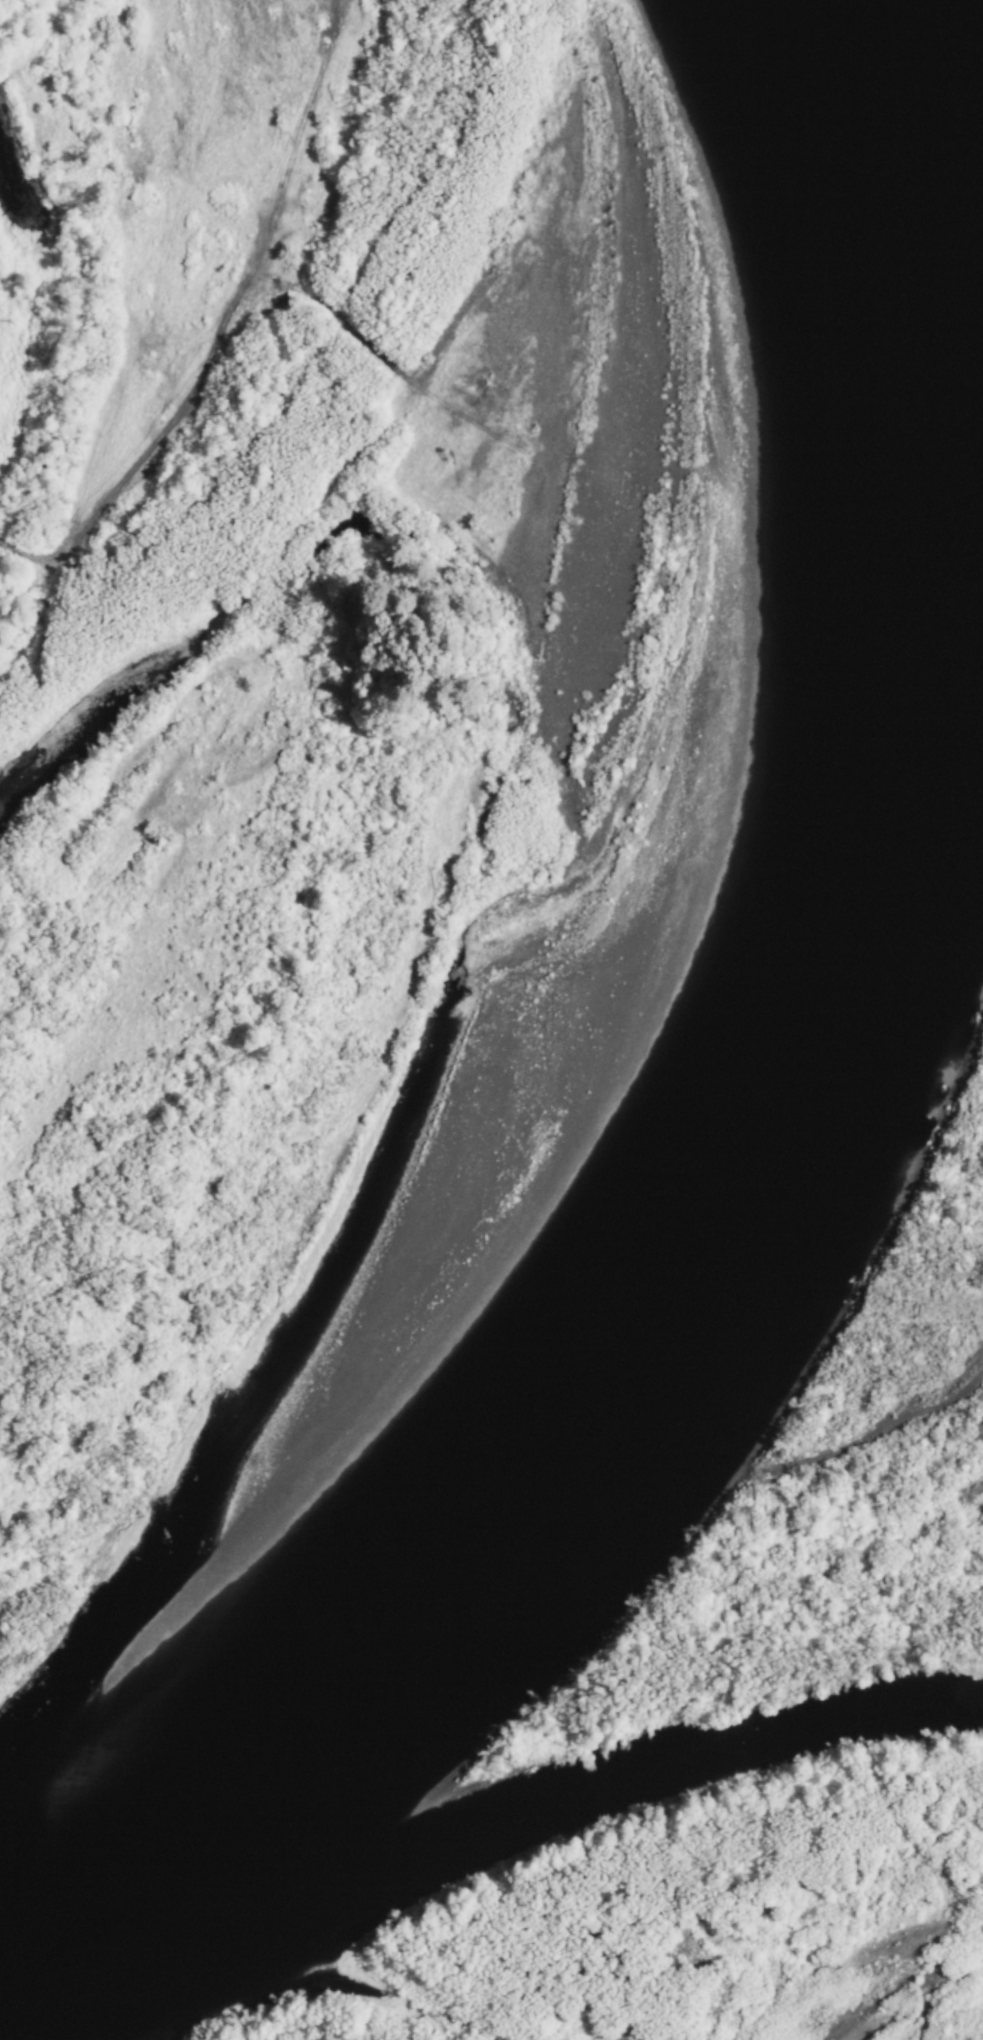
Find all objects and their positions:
river: (539, 1000)

